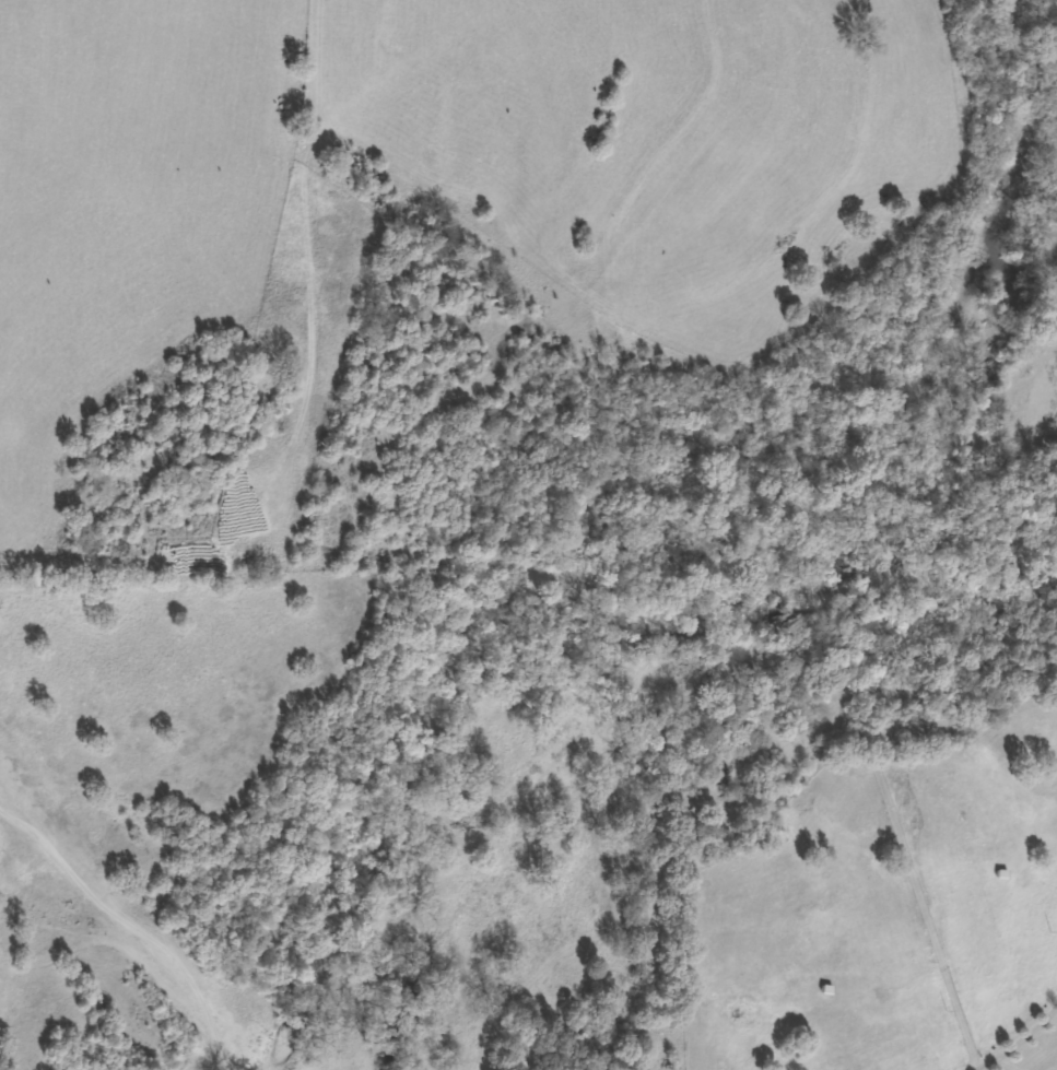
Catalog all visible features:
road: (1010, 1021)

